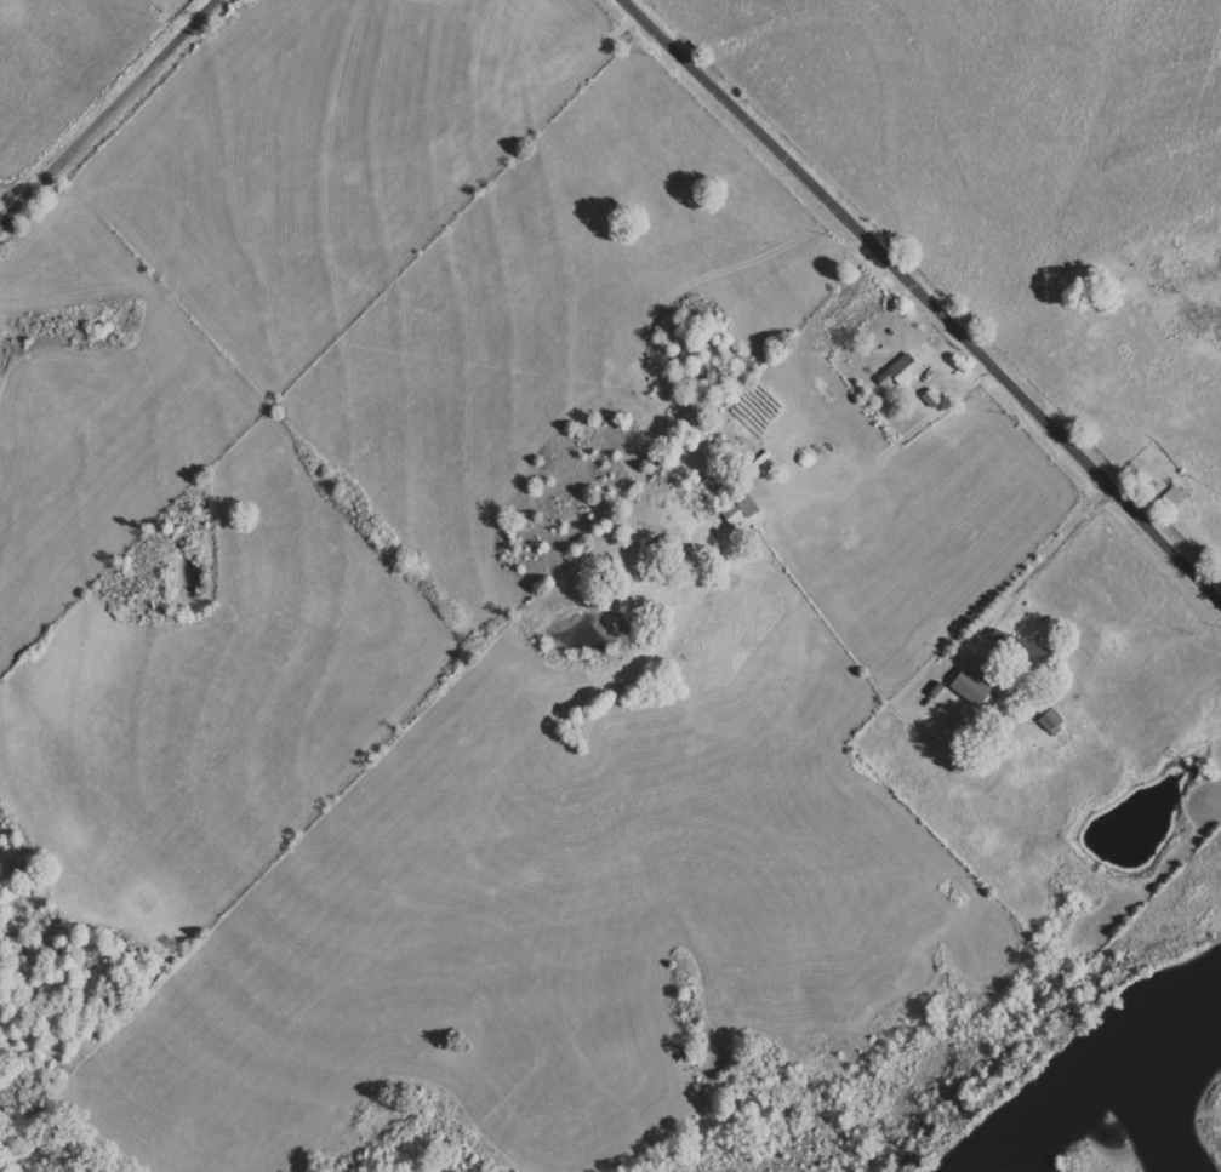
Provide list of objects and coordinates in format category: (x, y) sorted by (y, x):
road: (135, 125)
road: (925, 298)
building: (901, 372)
road: (1035, 568)
building: (975, 691)

